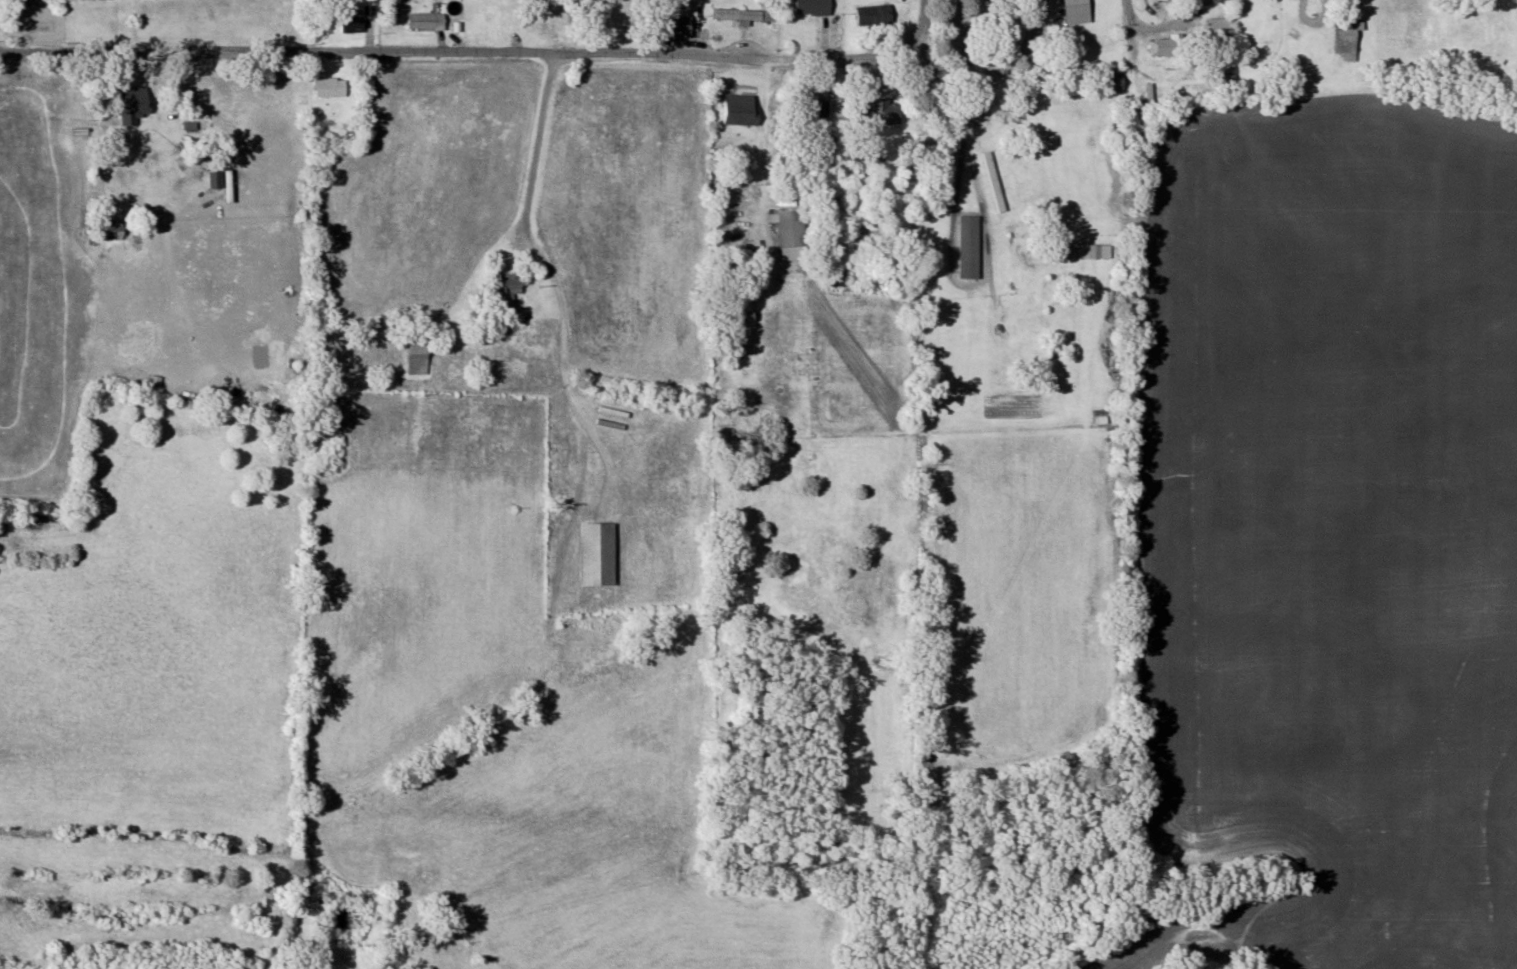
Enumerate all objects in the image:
building: (1166, 0)
building: (814, 7)
building: (1073, 8)
road: (1127, 9)
building: (739, 15)
building: (876, 15)
building: (428, 21)
building: (354, 24)
building: (681, 26)
building: (1219, 29)
building: (1349, 38)
building: (1169, 46)
road: (480, 52)
building: (332, 87)
building: (136, 102)
building: (742, 103)
building: (814, 108)
building: (878, 113)
building: (194, 126)
building: (794, 230)
building: (117, 236)
building: (971, 248)
building: (511, 288)
building: (420, 347)
building: (595, 547)

